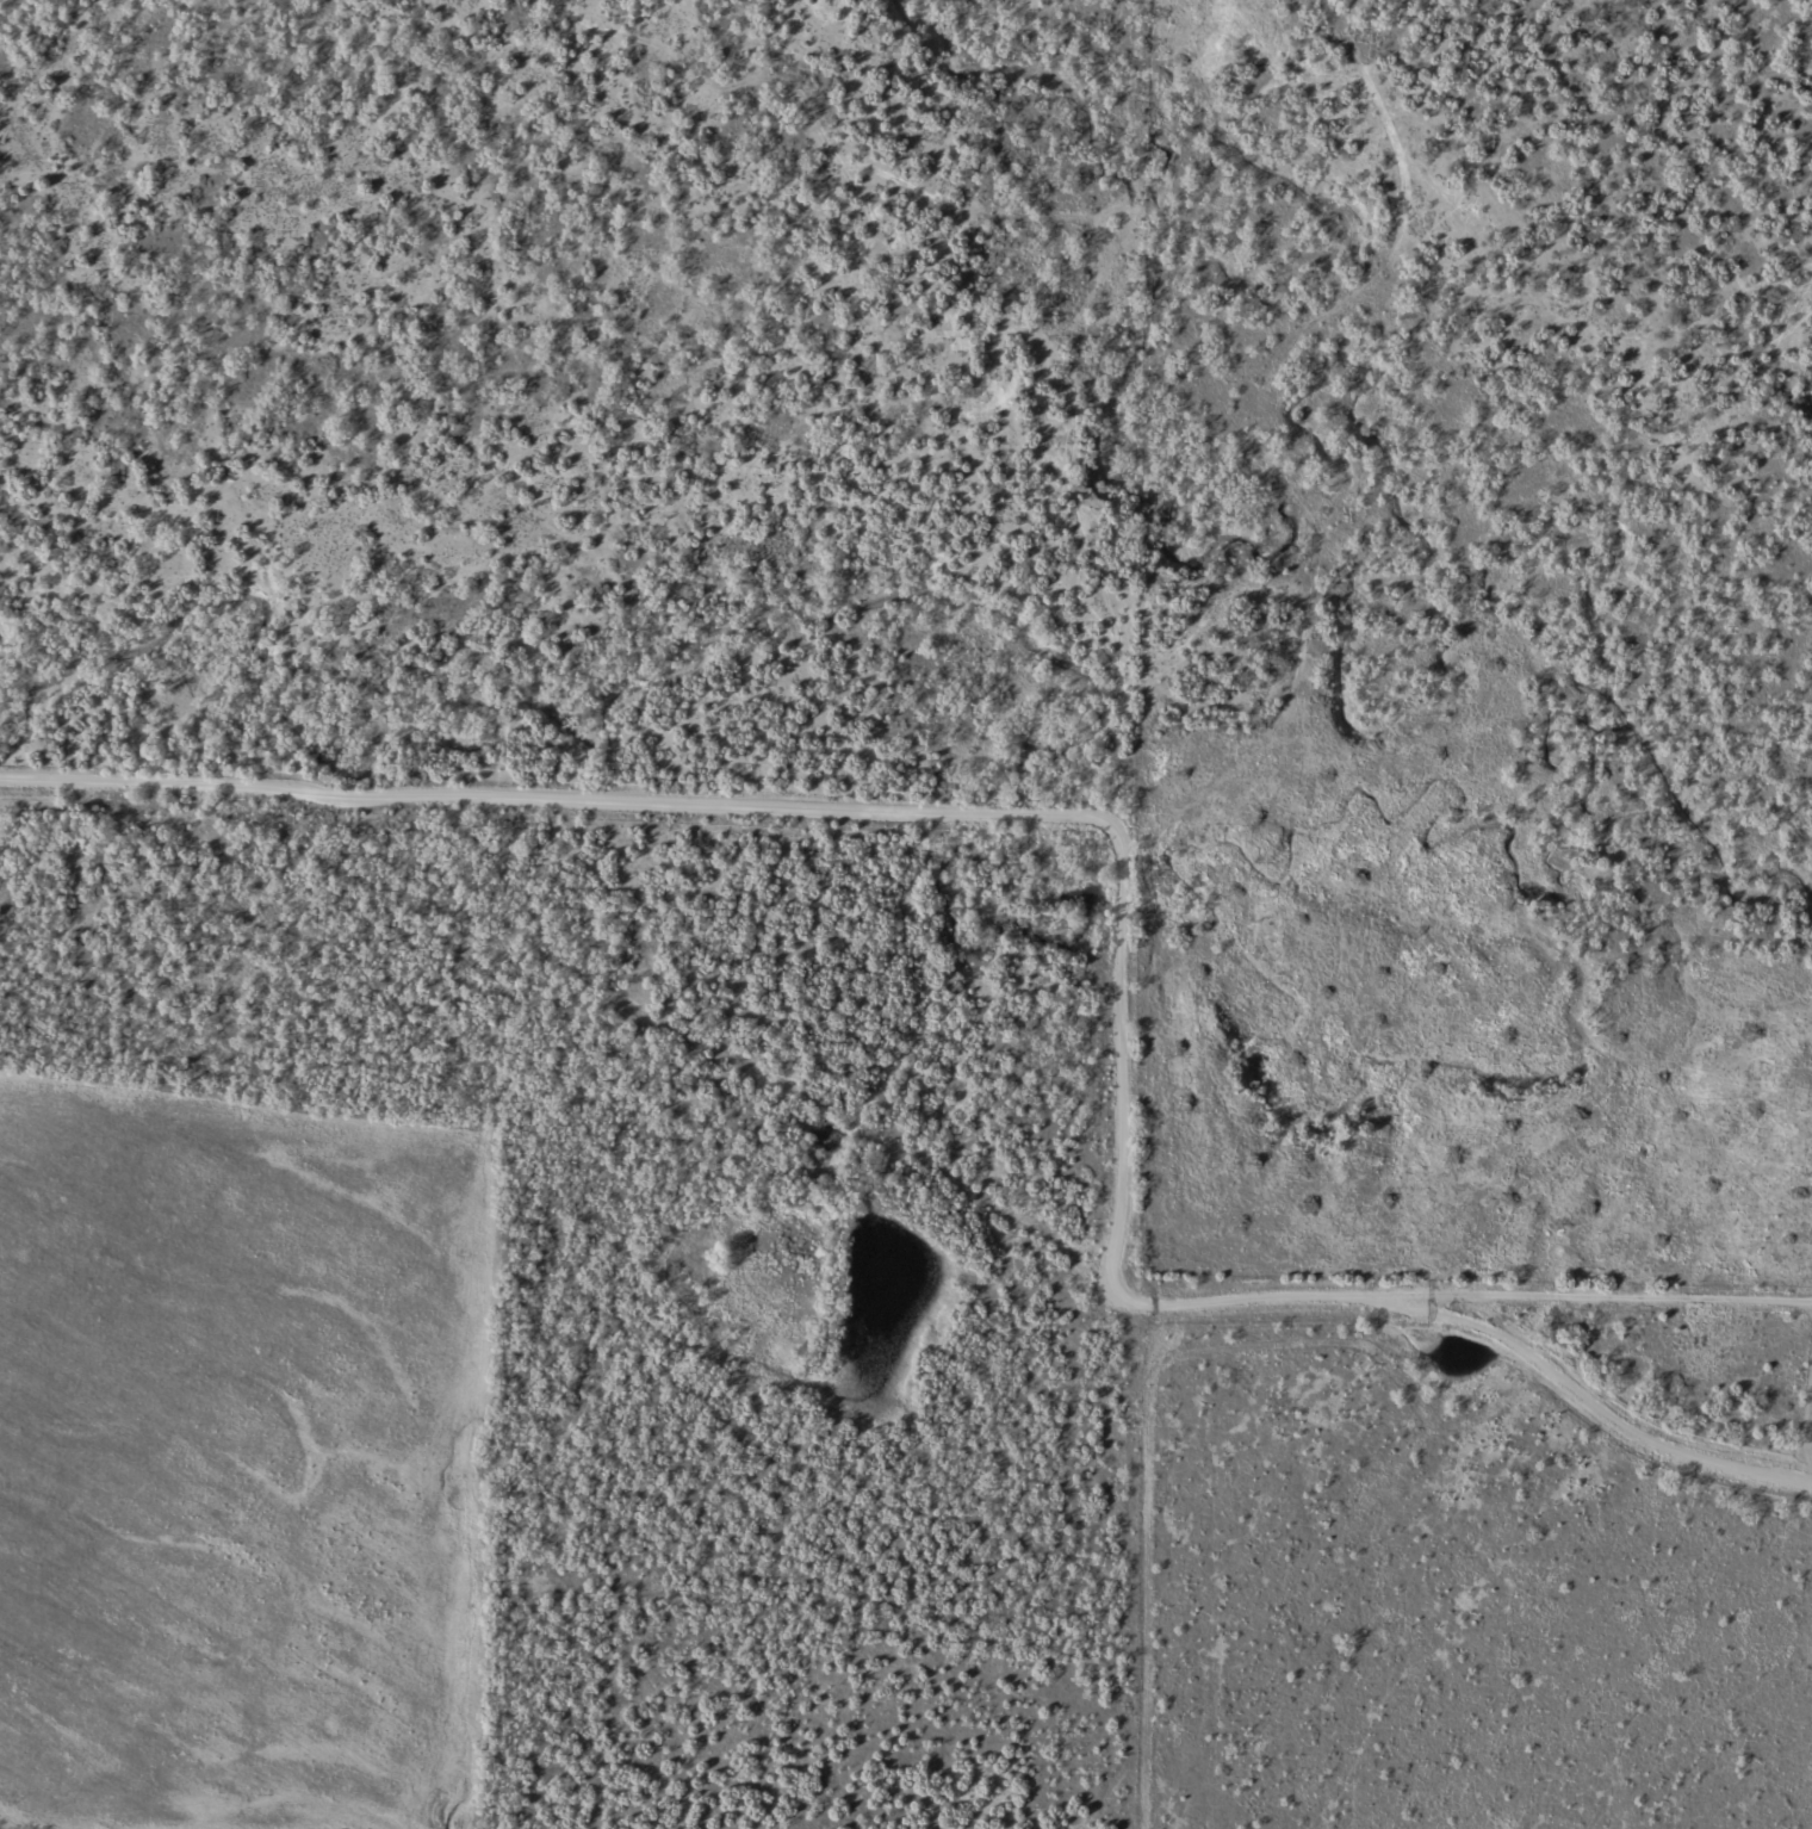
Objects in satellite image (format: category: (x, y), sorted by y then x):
road: (597, 968)
road: (1494, 1372)
road: (1134, 1550)

